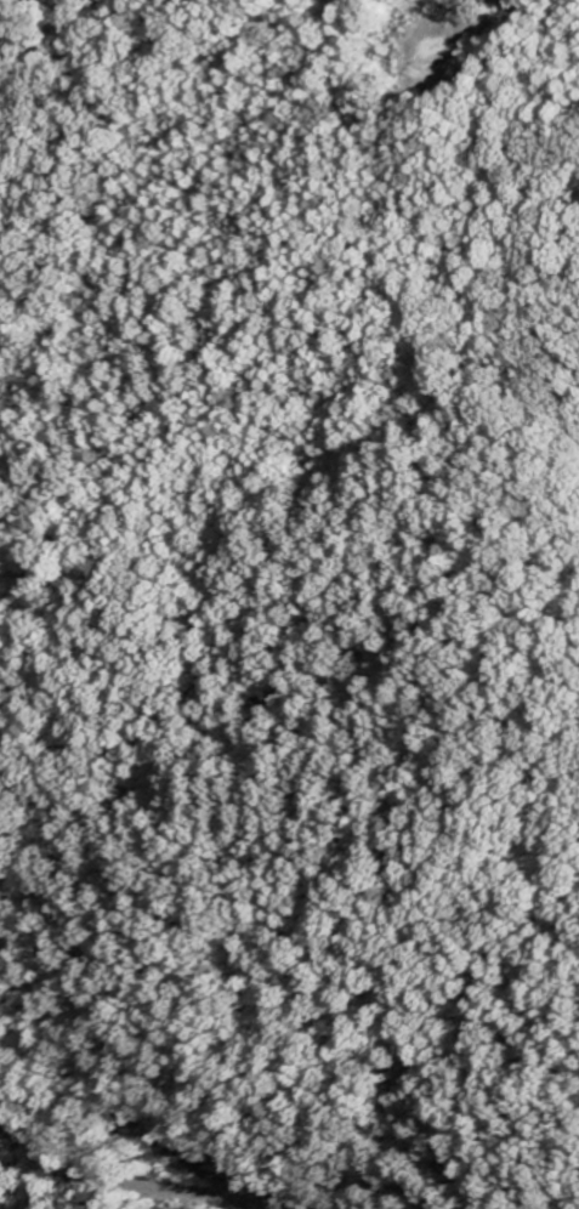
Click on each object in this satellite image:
road: (129, 1182)

